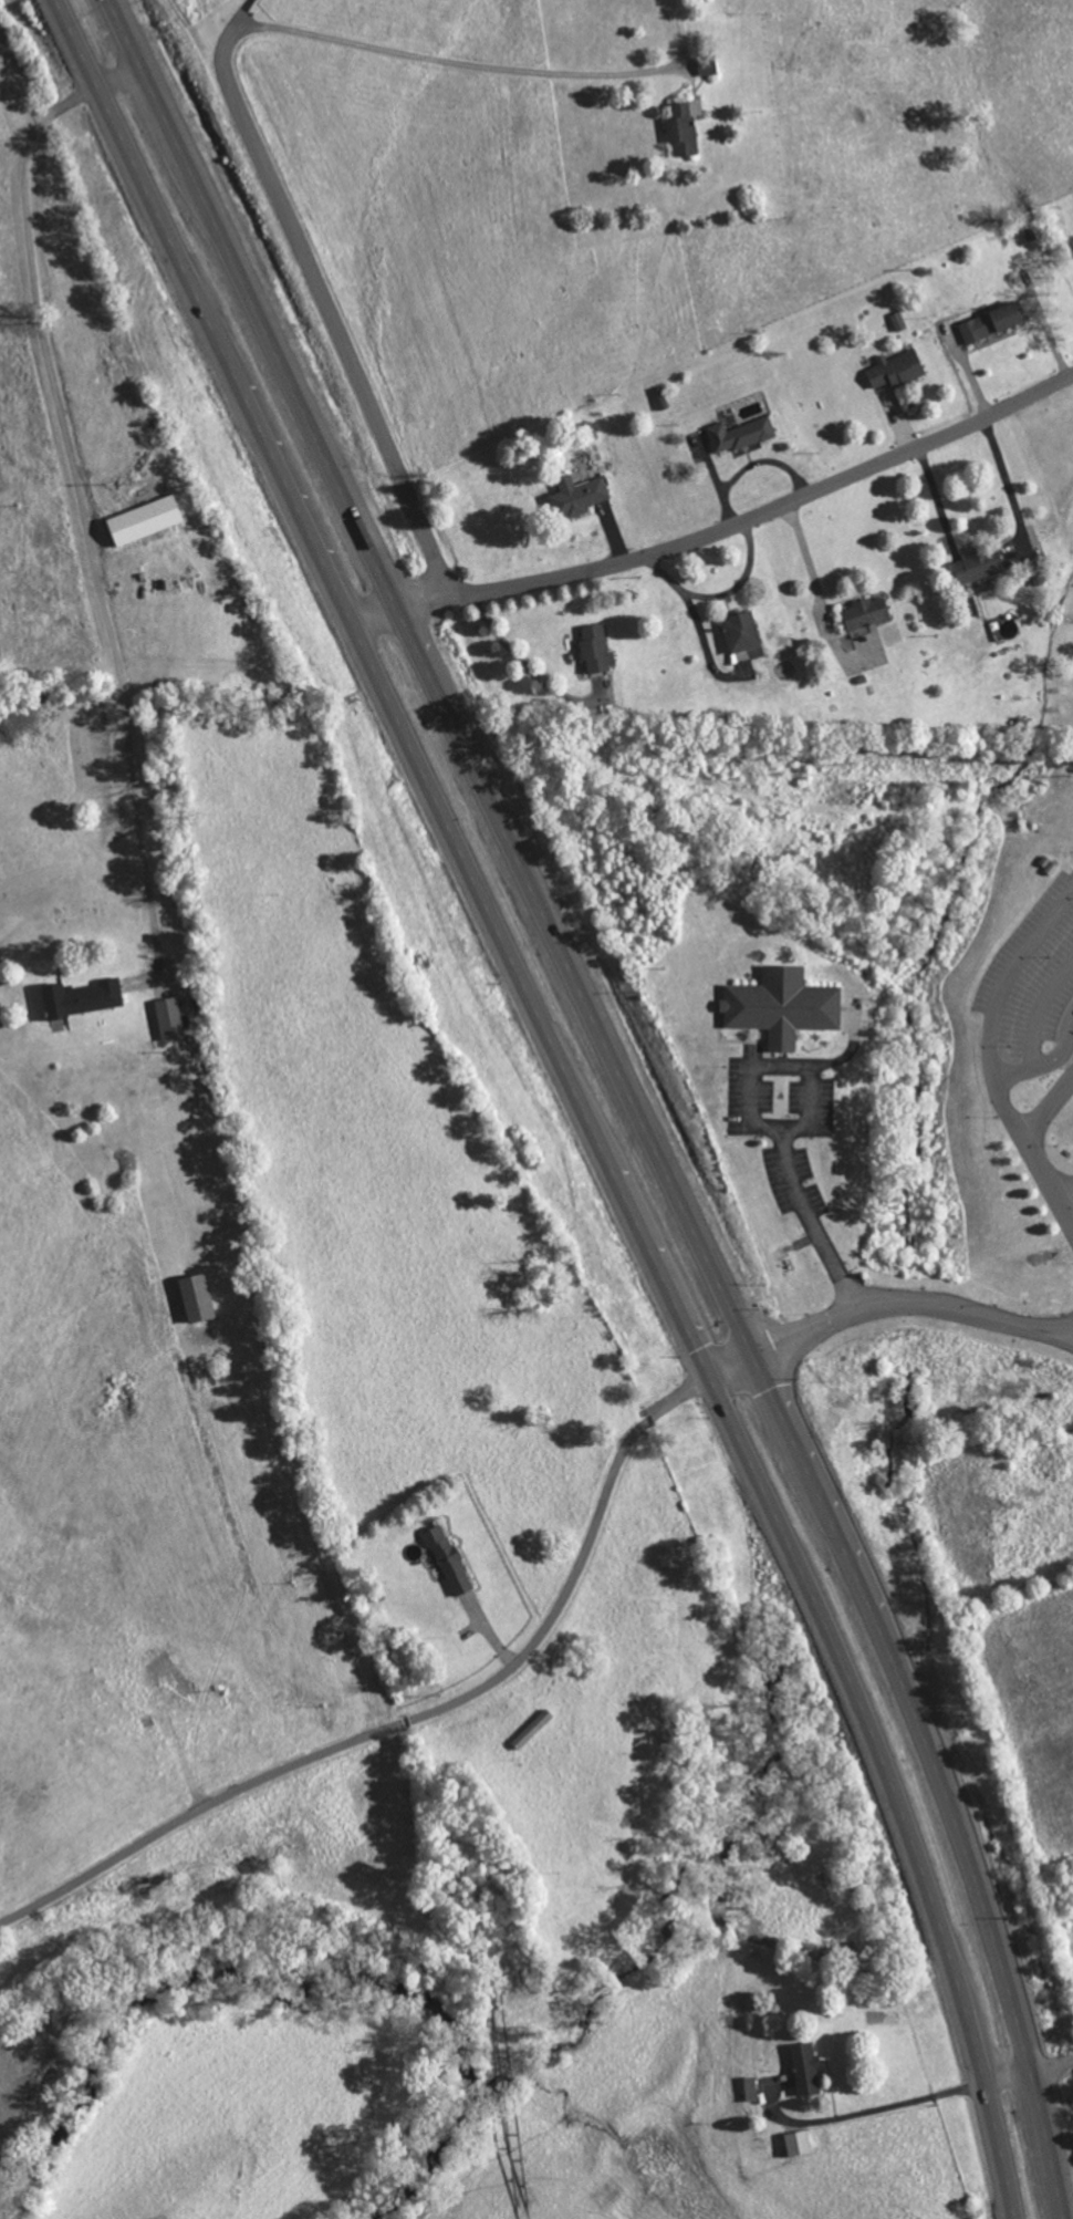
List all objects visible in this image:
road: (490, 68)
building: (685, 127)
road: (324, 297)
building: (994, 322)
building: (898, 369)
building: (741, 434)
building: (581, 496)
road: (81, 504)
building: (147, 520)
road: (722, 528)
building: (980, 562)
building: (866, 614)
building: (742, 630)
building: (597, 646)
building: (83, 996)
building: (784, 1004)
building: (170, 1017)
road: (990, 1056)
road: (1048, 1061)
road: (629, 1092)
road: (575, 1093)
road: (1048, 1109)
road: (799, 1128)
road: (1069, 1207)
building: (199, 1297)
road: (894, 1302)
road: (1058, 1327)
road: (1058, 1336)
road: (732, 1365)
building: (449, 1559)
road: (418, 1715)
building: (806, 2068)
road: (884, 2107)
building: (799, 2143)

